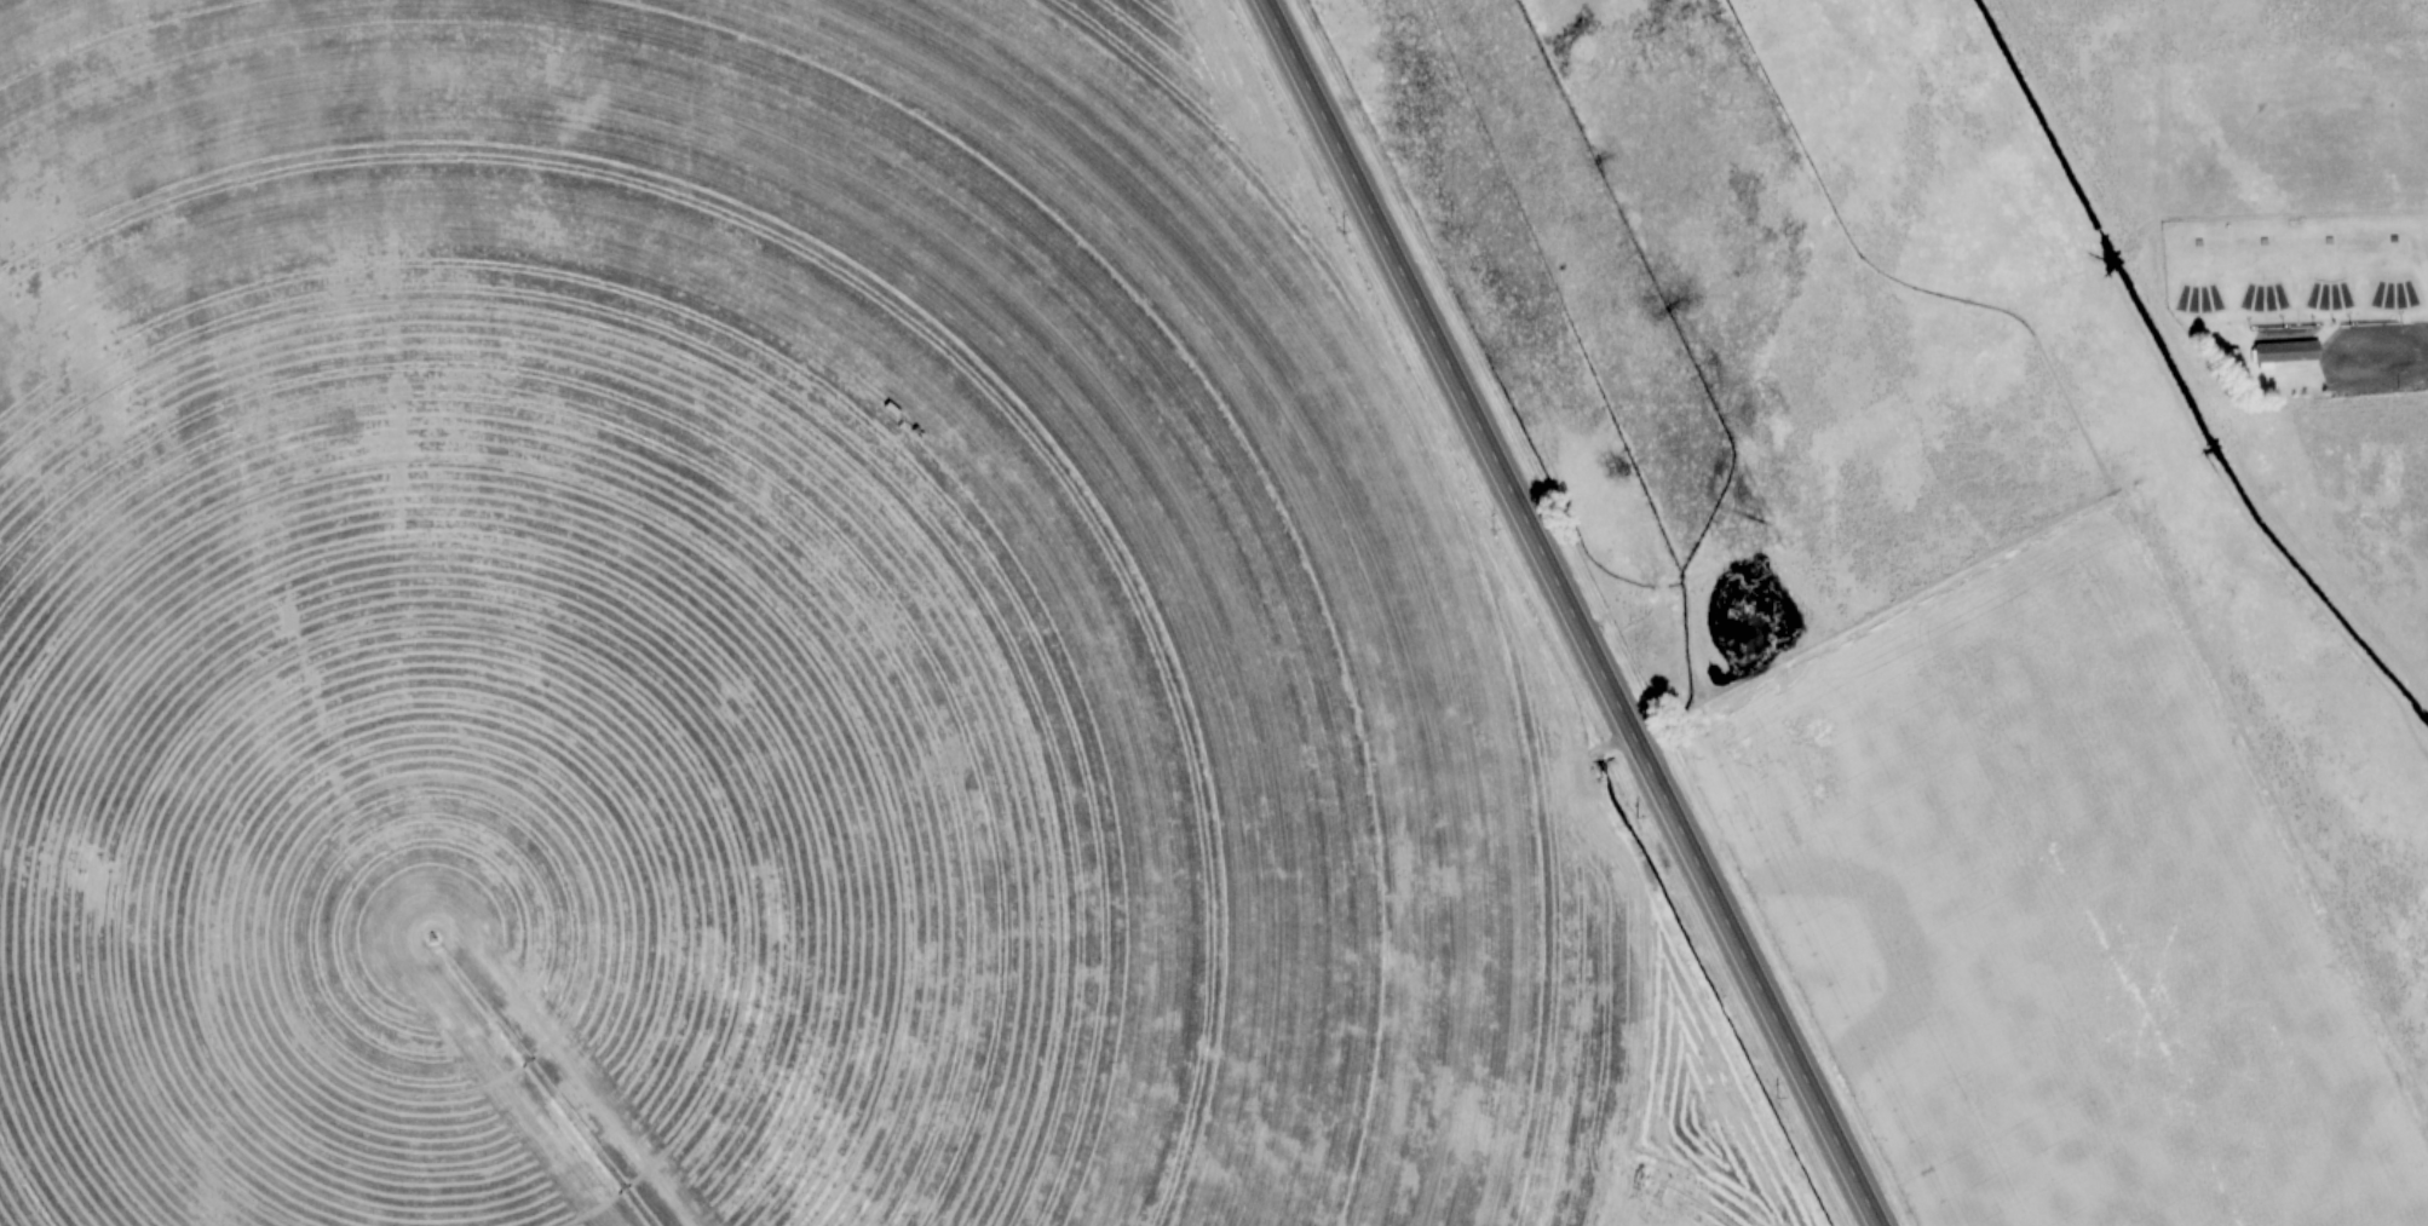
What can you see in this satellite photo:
building: (2286, 351)
road: (1570, 612)

